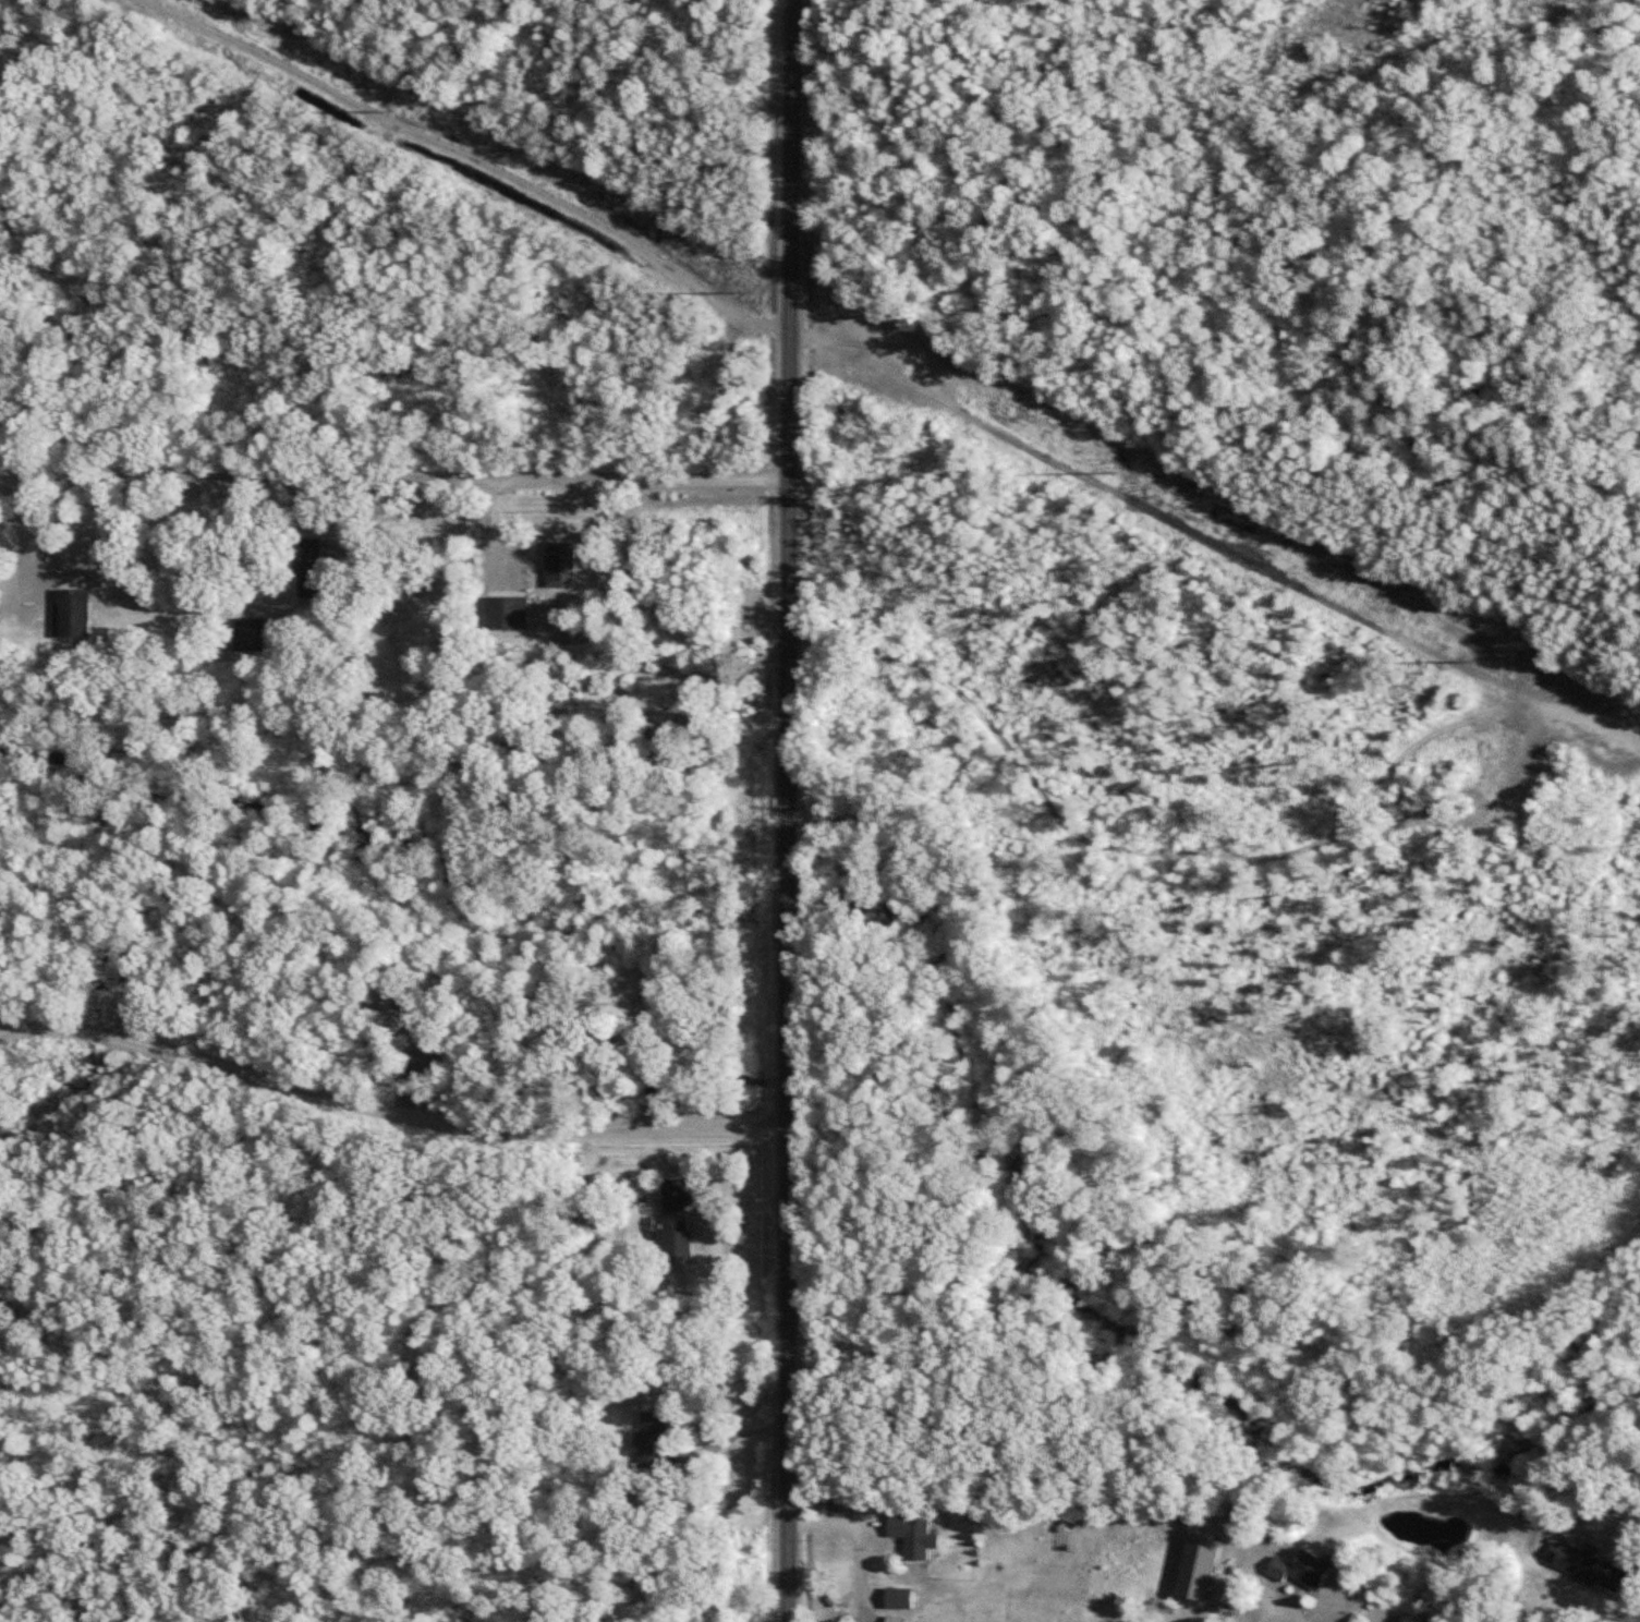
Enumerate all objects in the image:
power tower: (388, 108)
power tower: (741, 287)
power tower: (1104, 468)
road: (493, 482)
building: (312, 568)
building: (506, 613)
building: (74, 614)
building: (251, 634)
power tower: (1467, 657)
building: (502, 727)
building: (664, 736)
road: (789, 810)
road: (387, 1116)
building: (677, 1218)
building: (652, 1439)
road: (728, 1440)
building: (914, 1536)
building: (1590, 1566)
building: (1302, 1569)
building: (899, 1598)
road: (1273, 1612)

